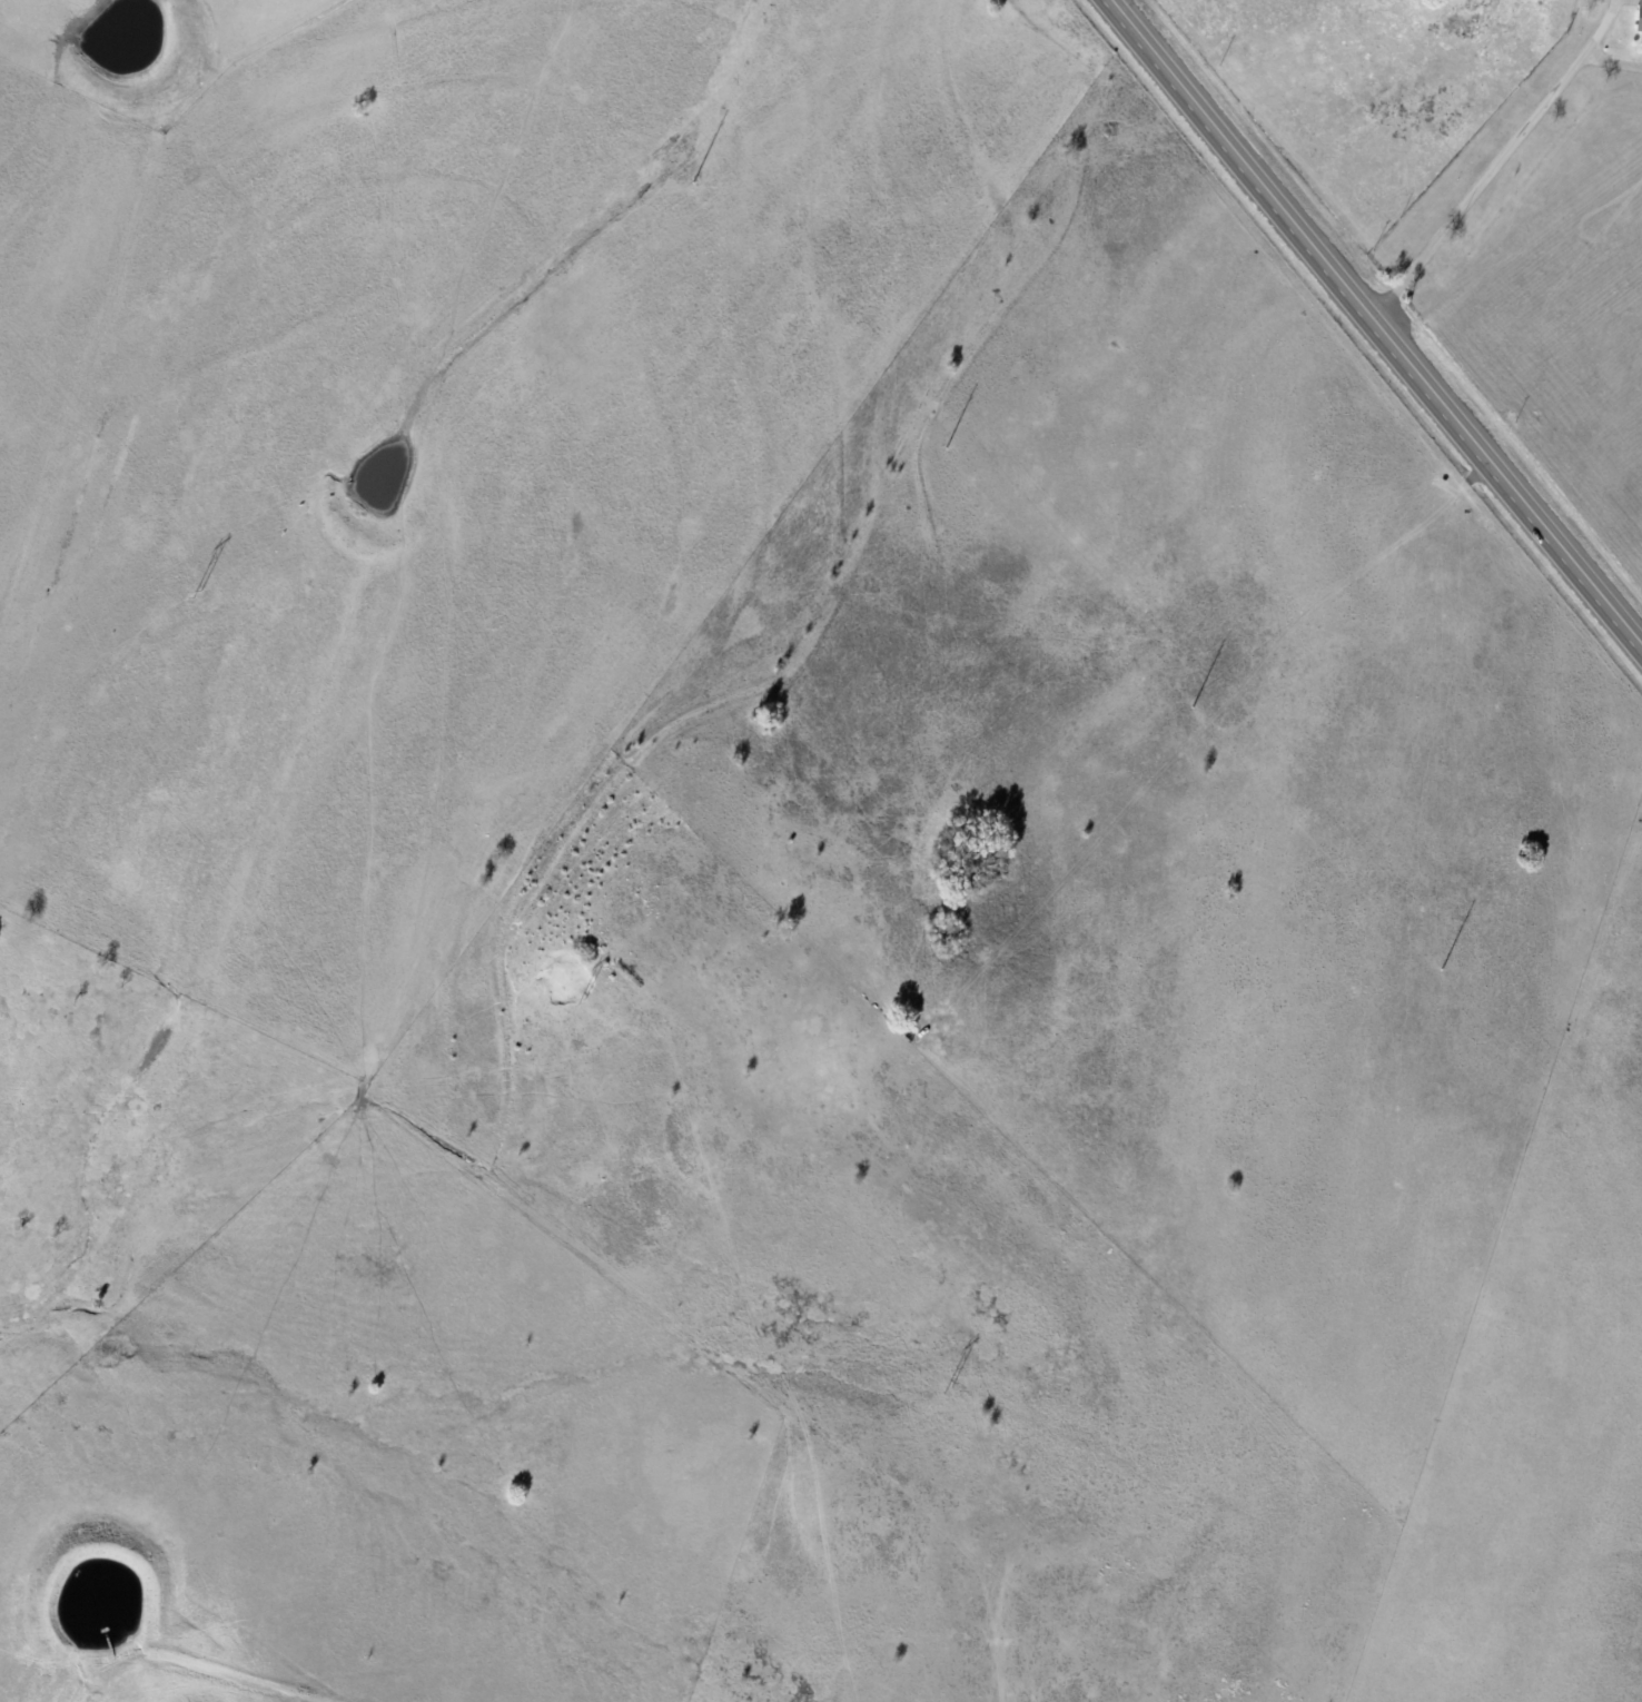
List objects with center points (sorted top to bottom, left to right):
building: (1640, 18)
road: (1529, 176)
power tower: (692, 181)
road: (1381, 316)
power tower: (944, 447)
power tower: (196, 595)
power tower: (1190, 706)
power tower: (1440, 969)
power tower: (581, 1000)
power tower: (947, 1391)

